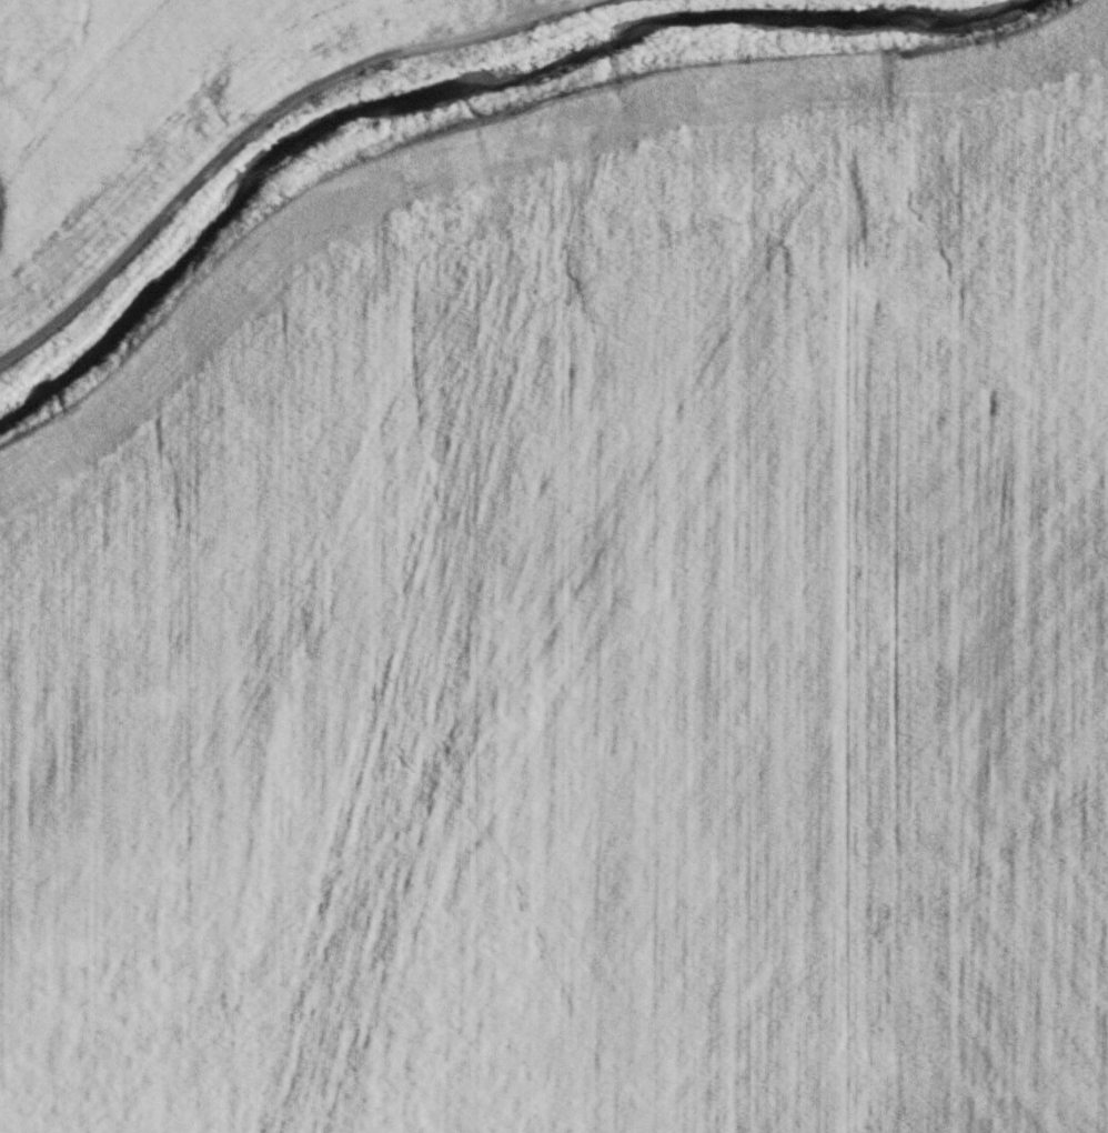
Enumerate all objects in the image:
river: (459, 82)

